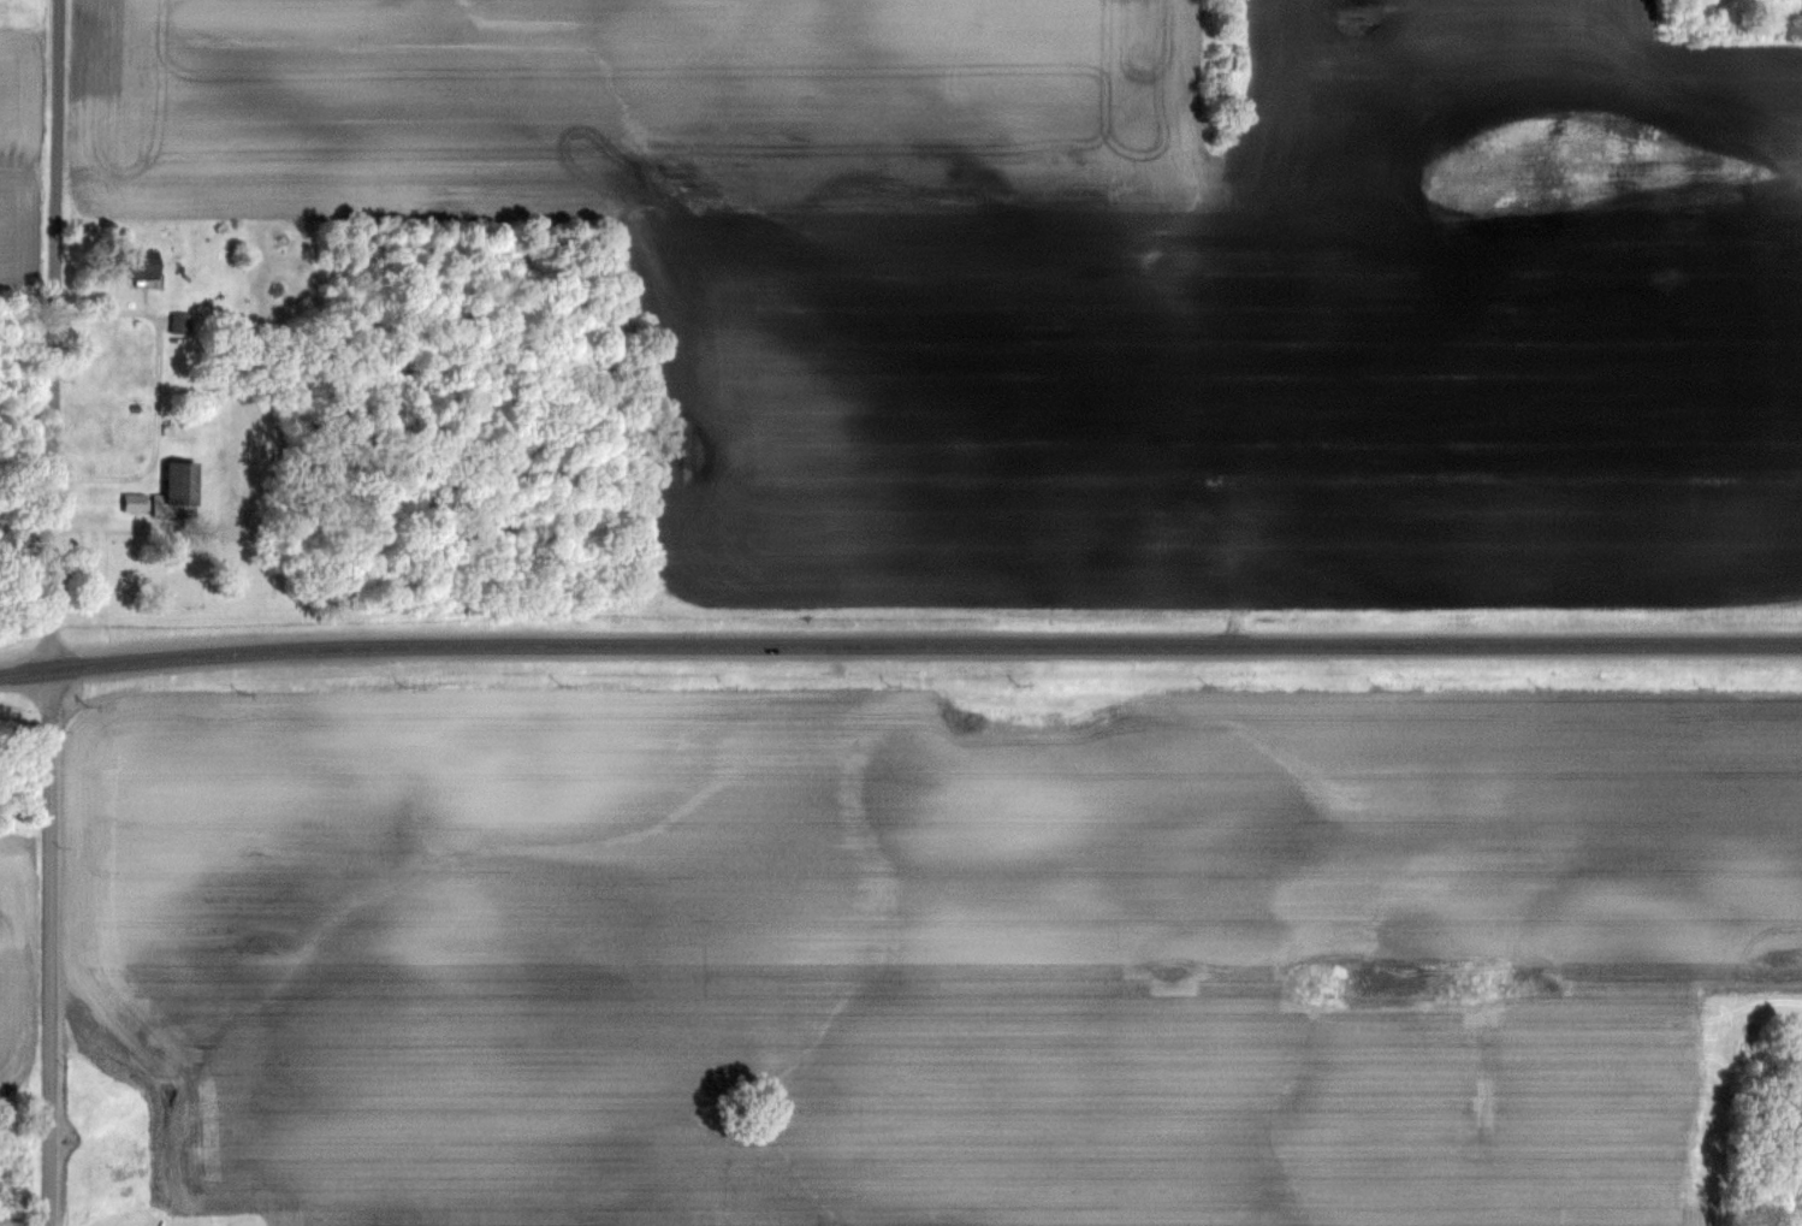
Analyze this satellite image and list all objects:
building: (140, 266)
road: (57, 336)
road: (158, 390)
building: (183, 485)
building: (136, 504)
road: (900, 645)
road: (51, 948)

